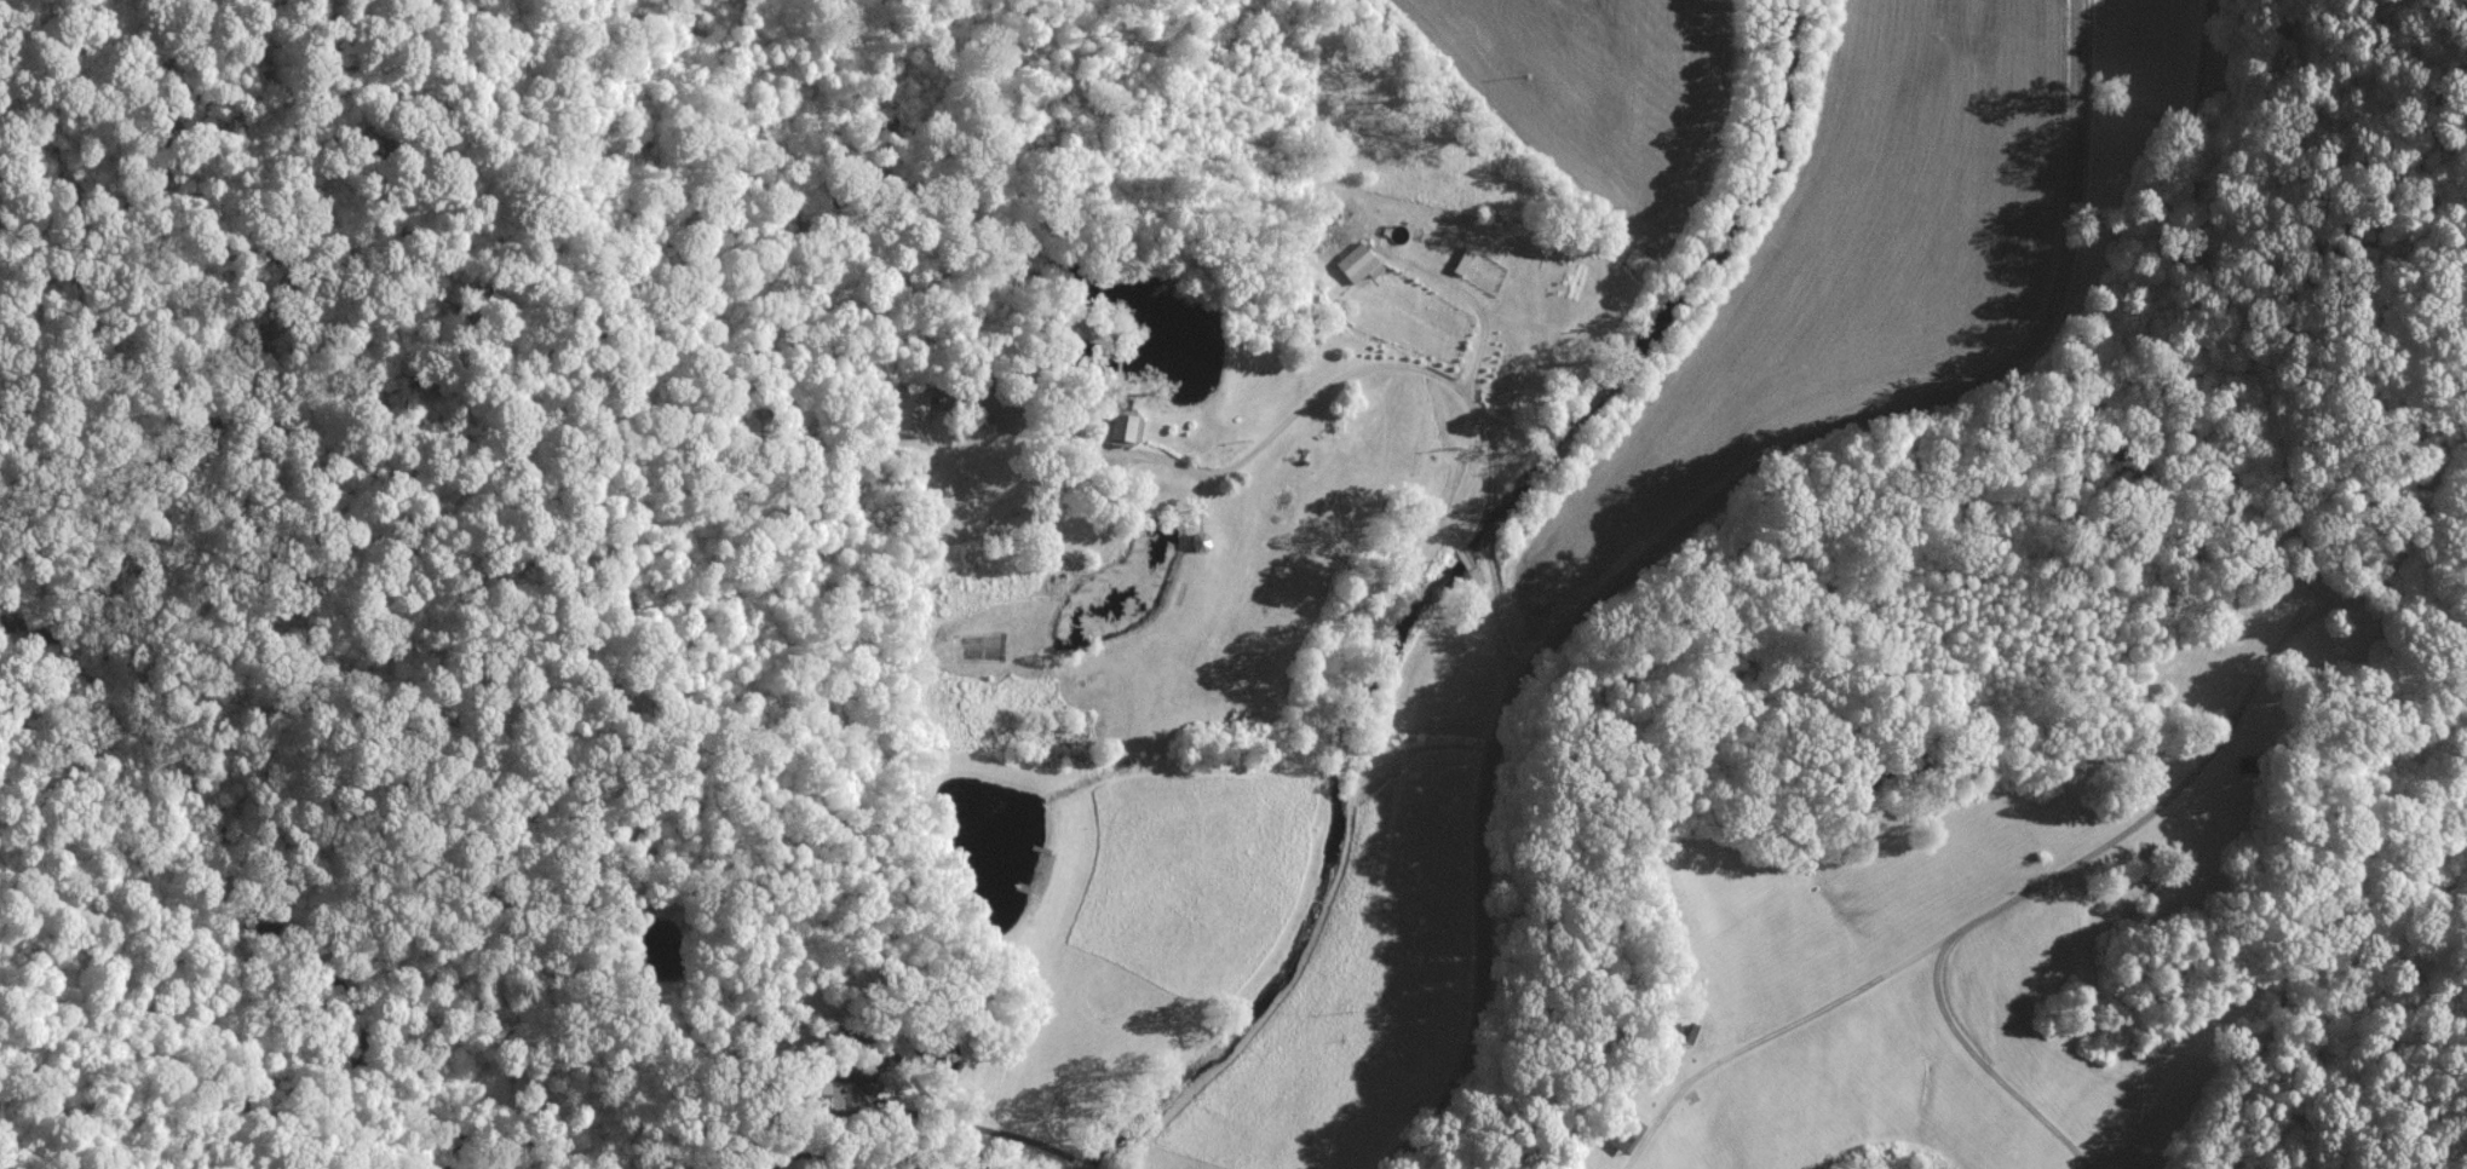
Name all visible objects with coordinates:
building: (1359, 263)
road: (1483, 316)
road: (1396, 367)
building: (908, 410)
building: (1121, 426)
road: (1082, 439)
road: (2409, 526)
road: (1684, 528)
road: (1470, 558)
road: (2319, 587)
road: (1502, 629)
road: (2230, 727)
building: (1689, 1027)
road: (1984, 1064)
road: (876, 1098)
road: (1082, 1163)

